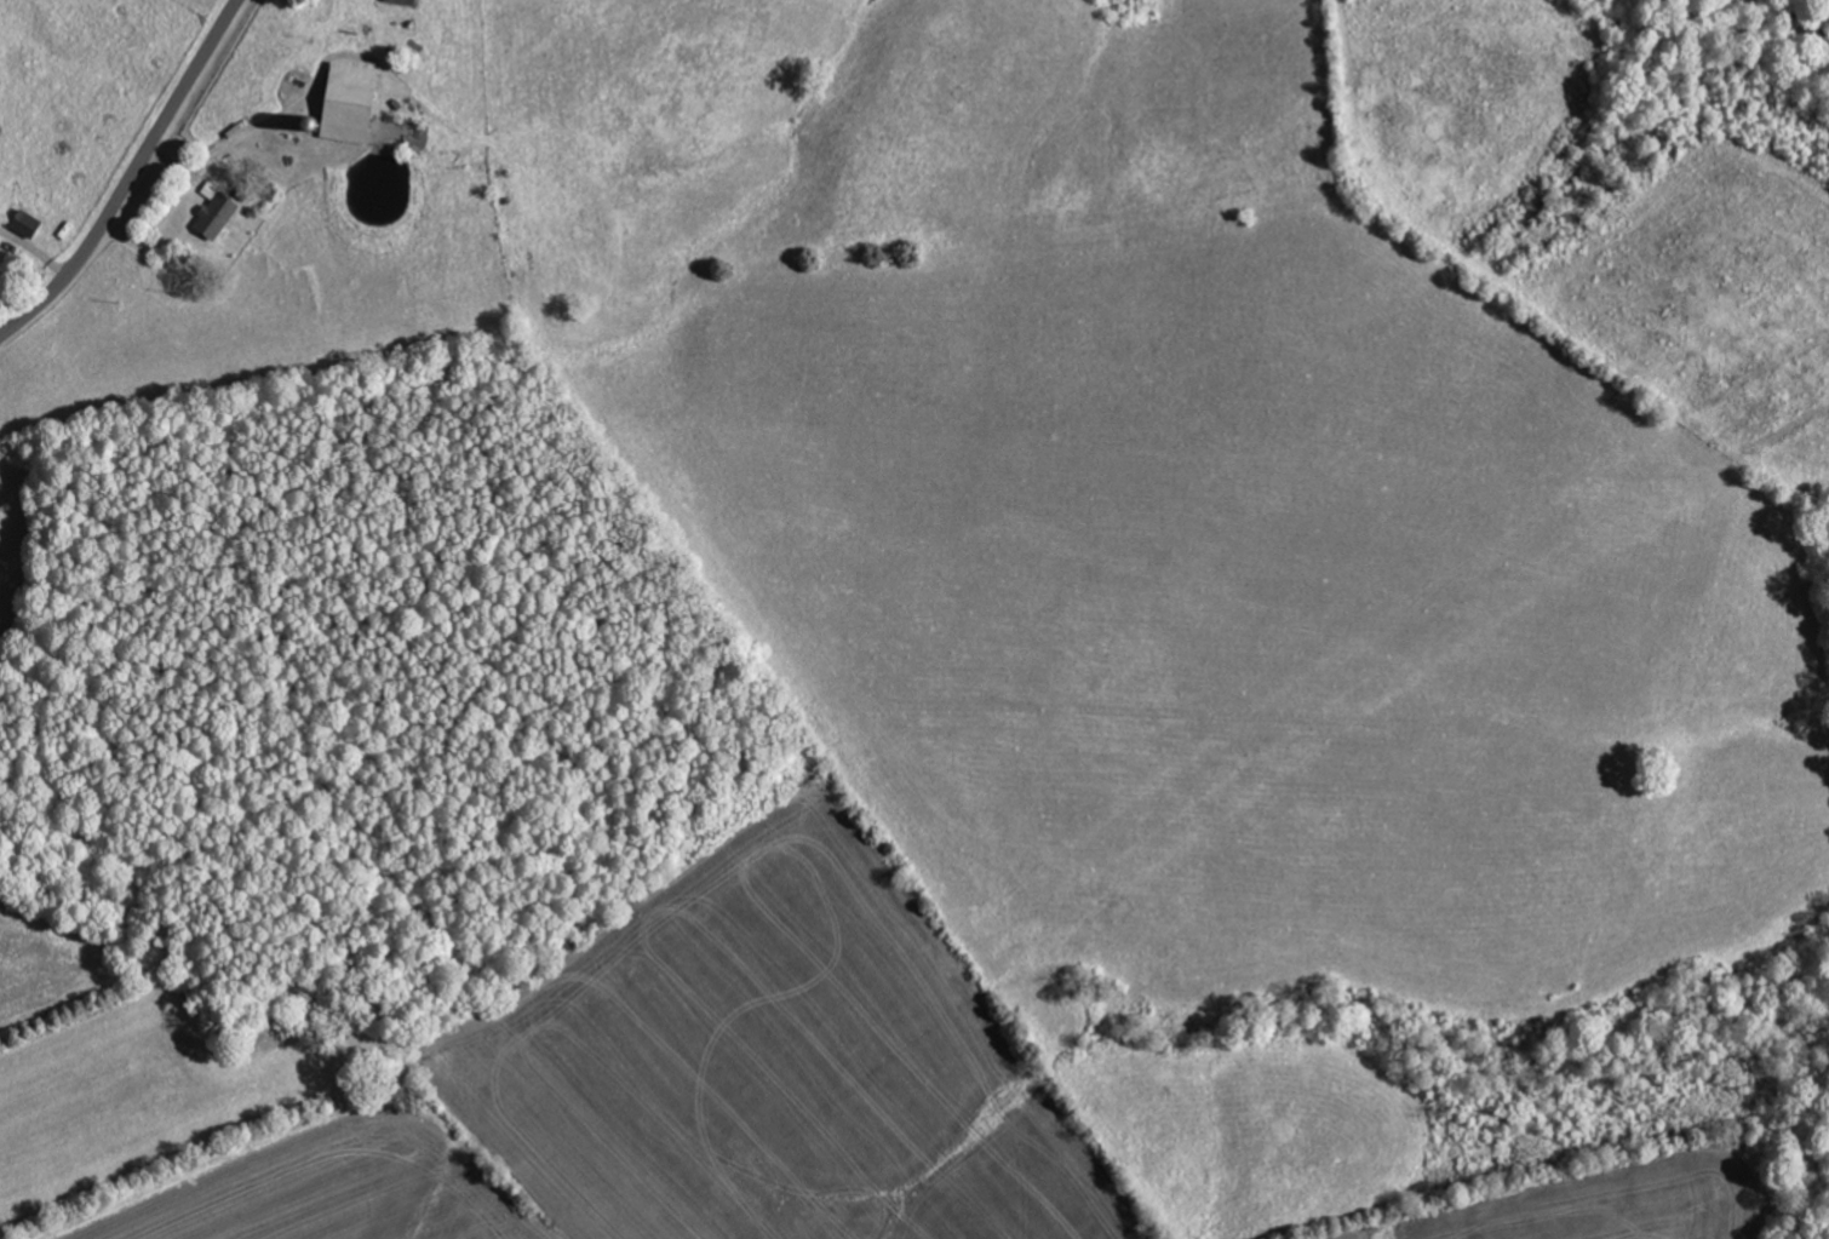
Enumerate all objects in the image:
building: (407, 1)
building: (355, 102)
road: (131, 178)
building: (218, 213)
building: (29, 223)

